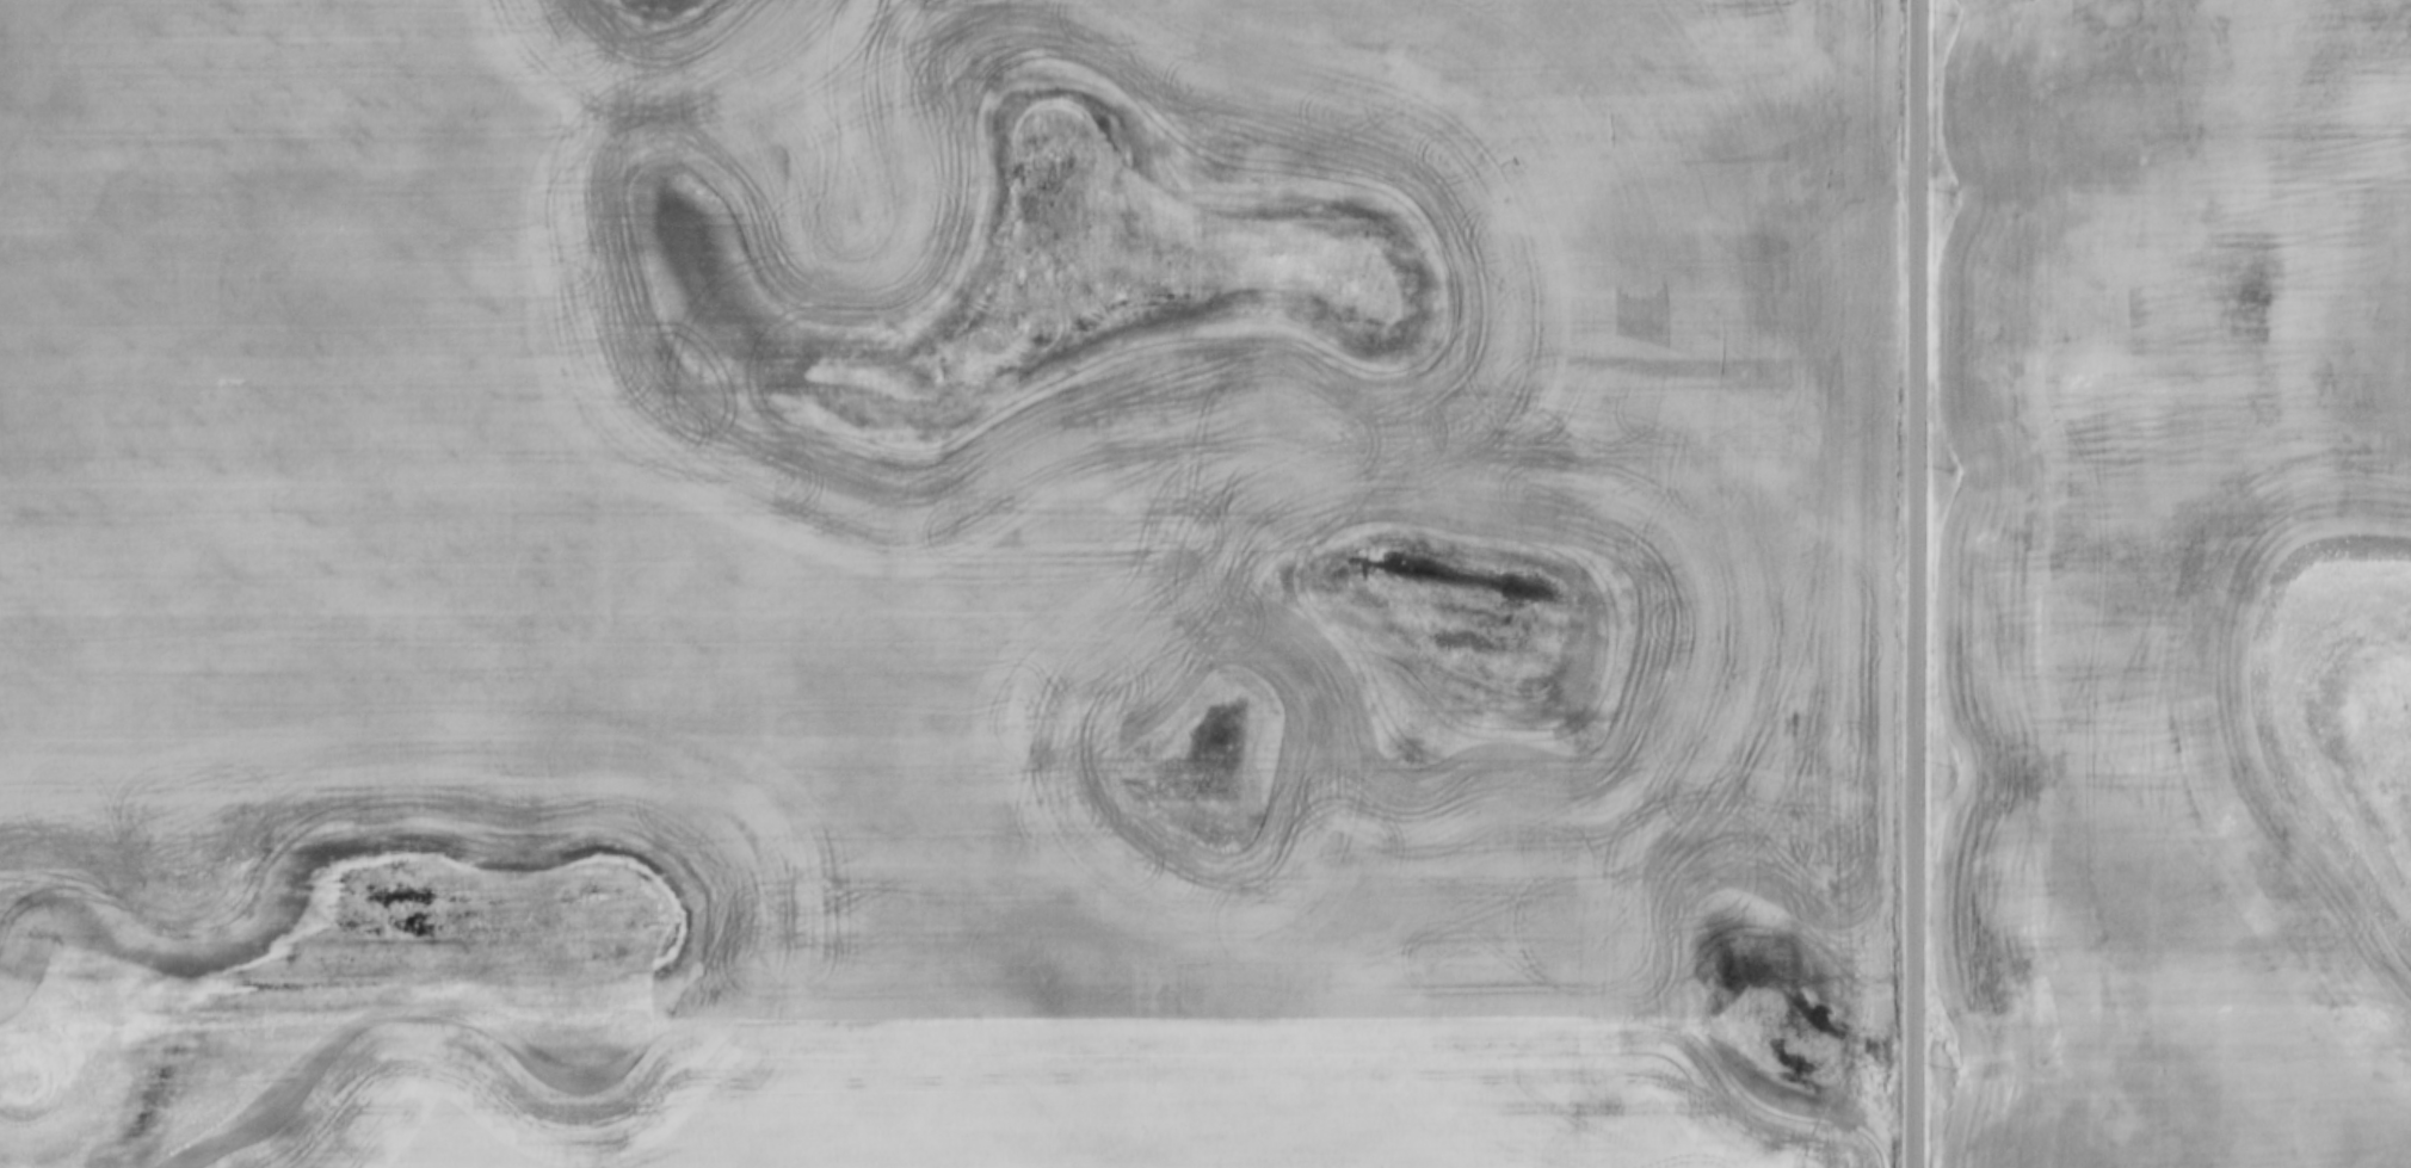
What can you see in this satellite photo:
road: (1916, 583)
crop: (958, 1101)

